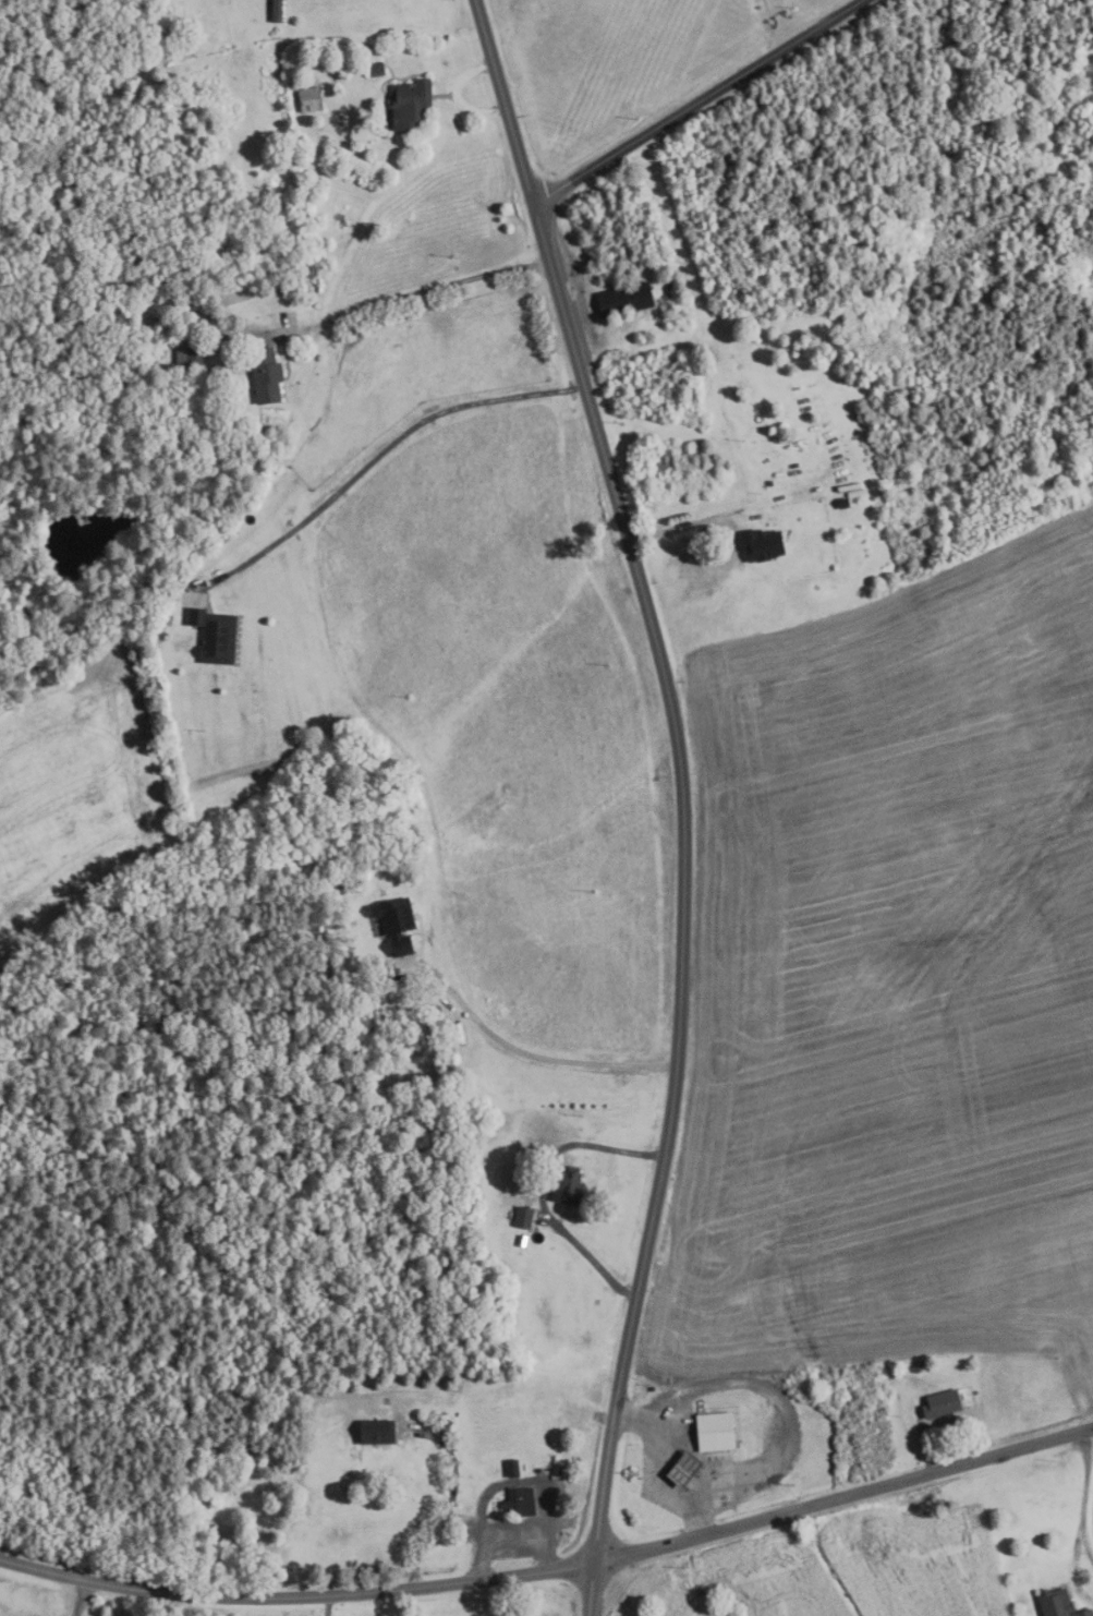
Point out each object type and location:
building: (277, 11)
road: (782, 20)
building: (377, 69)
road: (457, 95)
building: (309, 100)
road: (695, 101)
building: (411, 105)
road: (414, 290)
building: (626, 299)
building: (189, 359)
building: (267, 376)
road: (381, 454)
building: (770, 483)
building: (843, 503)
road: (700, 520)
building: (761, 544)
building: (216, 635)
building: (159, 636)
road: (665, 688)
building: (335, 889)
building: (397, 924)
building: (436, 978)
crop: (891, 979)
road: (551, 1052)
building: (567, 1186)
road: (541, 1190)
building: (524, 1218)
building: (918, 1367)
building: (975, 1391)
building: (943, 1402)
building: (716, 1432)
road: (924, 1444)
building: (510, 1468)
road: (1084, 1480)
building: (519, 1503)
road: (447, 1504)
road: (599, 1505)
road: (509, 1535)
road: (1086, 1543)
road: (552, 1569)
road: (1070, 1569)
road: (78, 1599)
building: (1057, 1603)
road: (327, 1606)

